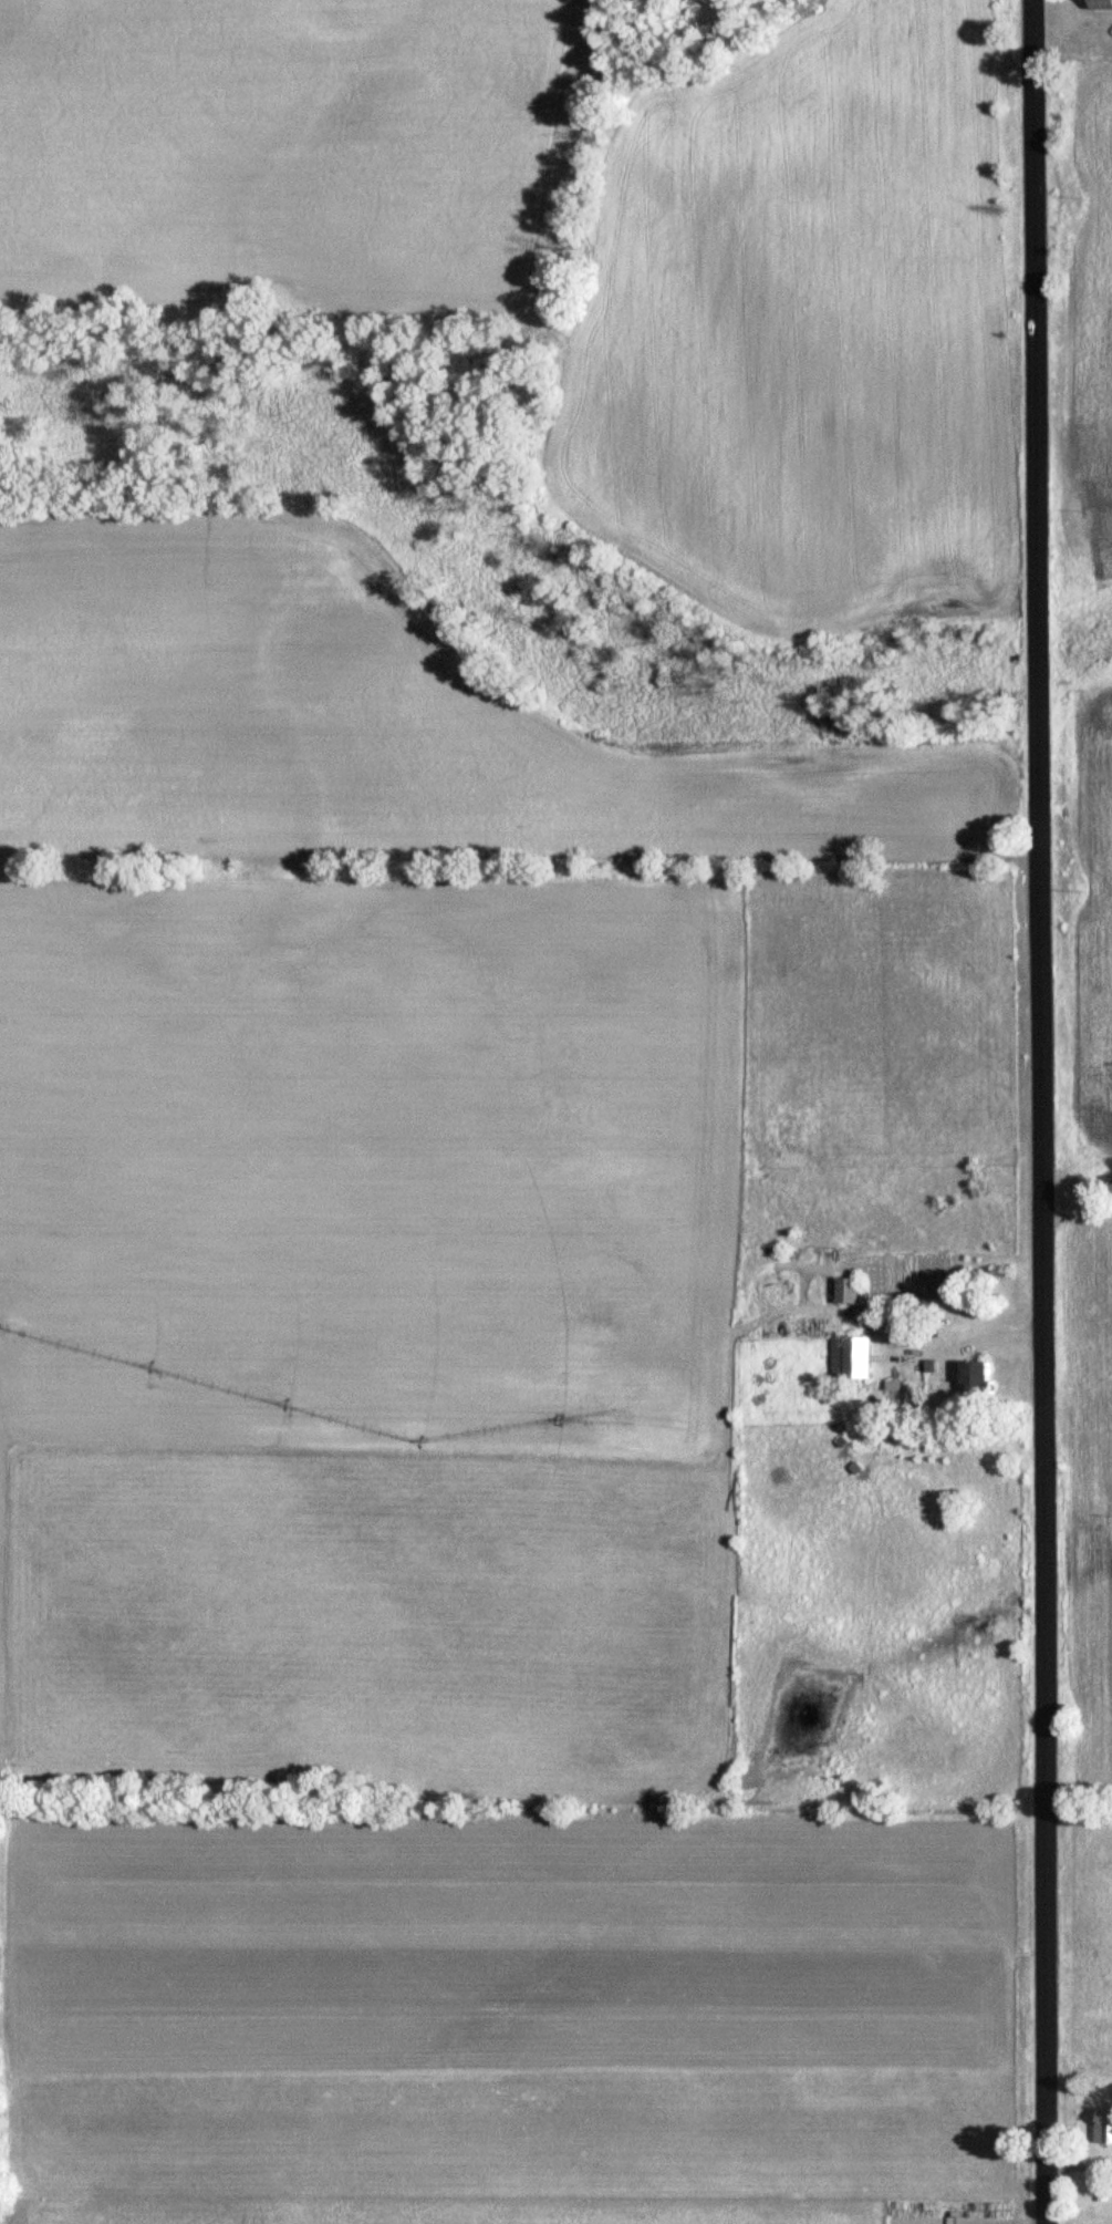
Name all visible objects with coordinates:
building: (1101, 4)
road: (1043, 1111)
building: (849, 1290)
building: (855, 1359)
building: (977, 1377)
building: (1105, 2129)

